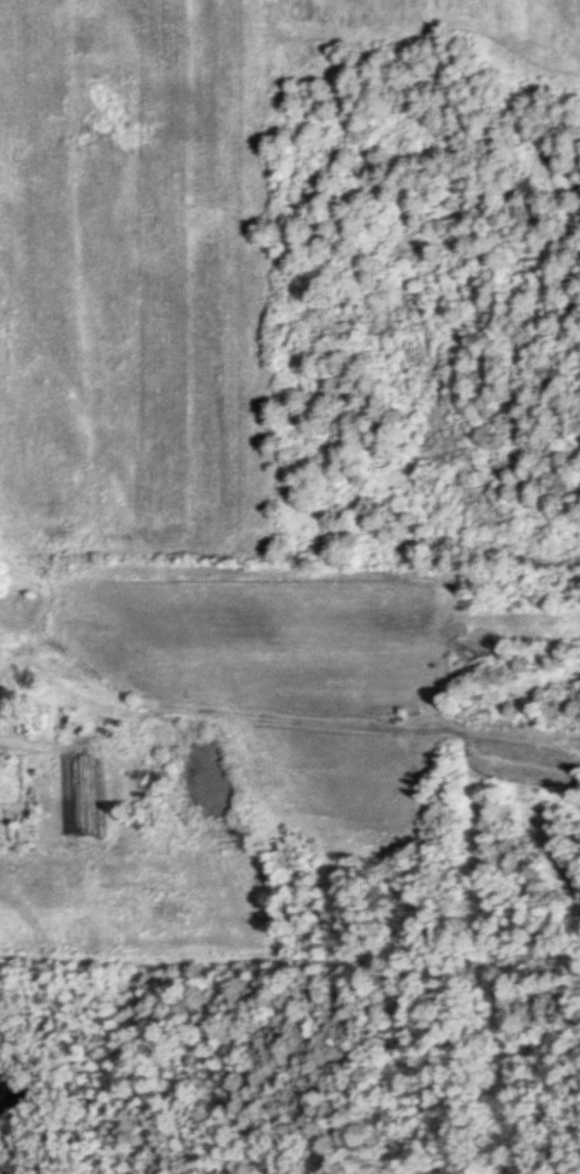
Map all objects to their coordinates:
building: (2, 713)

